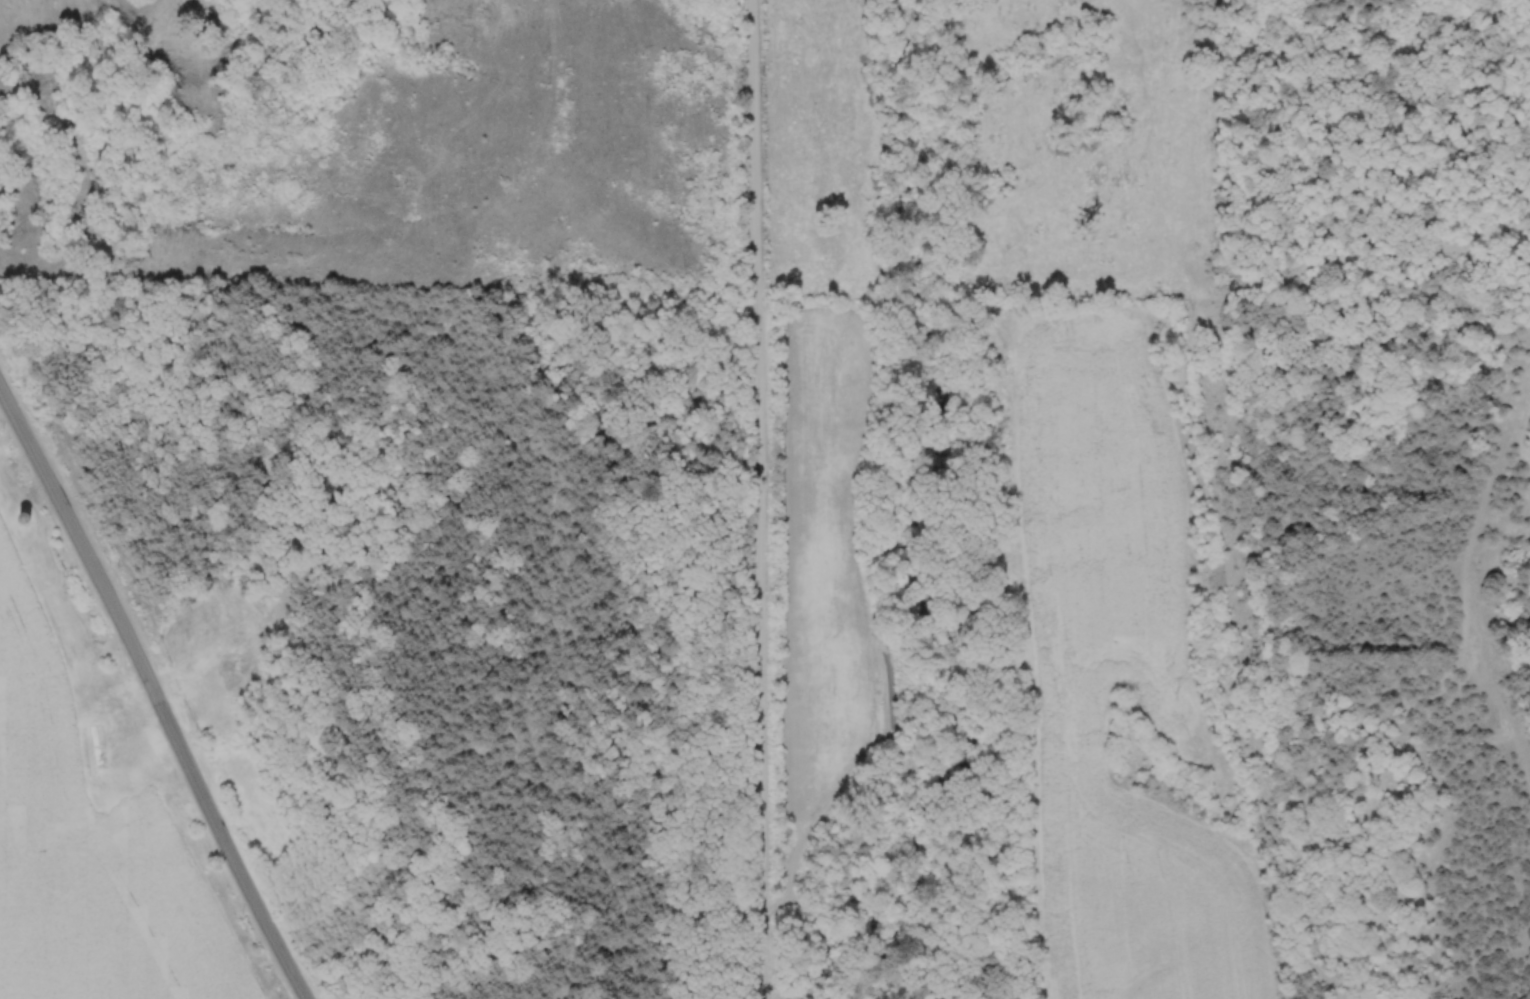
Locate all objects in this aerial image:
road: (752, 499)
building: (237, 678)
road: (149, 691)

